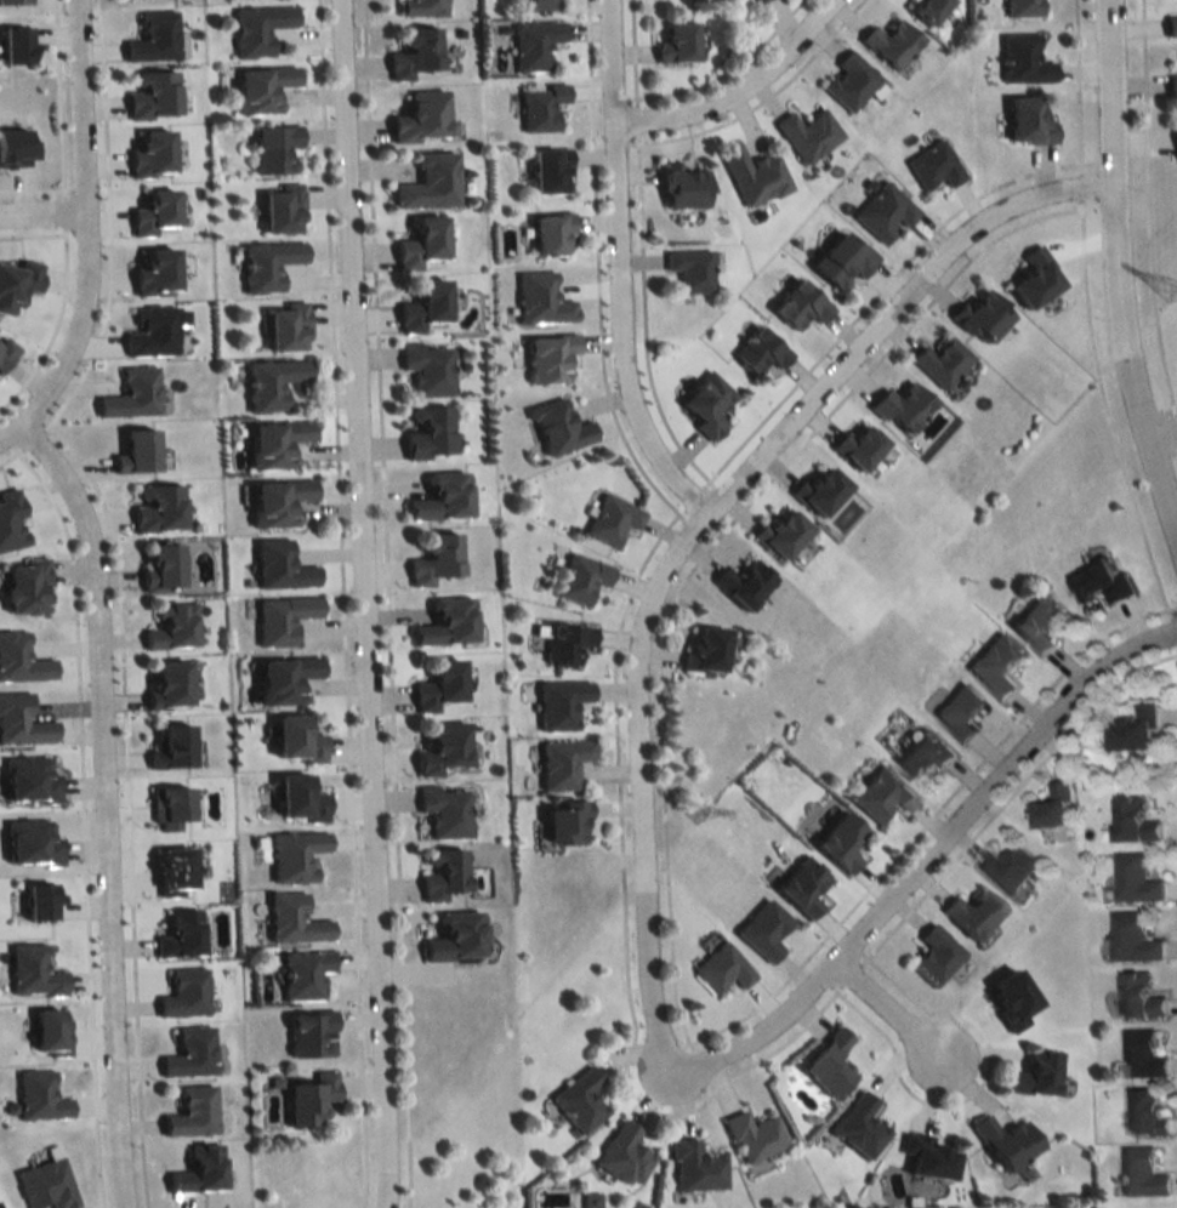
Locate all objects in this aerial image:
building: (13, 1)
building: (757, 1)
building: (533, 5)
building: (420, 7)
building: (1019, 7)
building: (925, 10)
building: (1170, 24)
building: (257, 28)
building: (153, 36)
building: (676, 41)
building: (533, 44)
building: (888, 44)
building: (15, 45)
building: (414, 51)
road: (630, 53)
building: (1020, 59)
road: (722, 70)
building: (849, 81)
building: (1170, 84)
road: (1074, 86)
building: (260, 89)
road: (734, 89)
building: (152, 93)
road: (57, 98)
road: (757, 101)
building: (539, 106)
building: (420, 116)
road: (633, 120)
building: (1027, 122)
building: (806, 135)
road: (80, 139)
building: (1175, 141)
building: (15, 148)
building: (272, 148)
building: (149, 154)
building: (932, 165)
building: (547, 170)
building: (752, 175)
building: (427, 182)
building: (682, 186)
road: (1079, 186)
road: (33, 188)
building: (280, 205)
road: (1145, 209)
road: (41, 210)
road: (61, 211)
building: (153, 211)
building: (882, 211)
road: (106, 222)
building: (550, 233)
road: (30, 234)
building: (419, 243)
building: (266, 261)
building: (840, 261)
building: (689, 269)
building: (154, 272)
road: (618, 272)
road: (595, 273)
building: (1034, 273)
building: (17, 283)
road: (1114, 285)
power tower: (1170, 289)
road: (875, 291)
building: (539, 298)
building: (797, 306)
building: (420, 307)
building: (979, 310)
road: (641, 319)
road: (53, 323)
building: (285, 323)
building: (154, 329)
building: (758, 351)
building: (6, 352)
building: (547, 358)
building: (939, 358)
building: (426, 366)
road: (59, 367)
building: (269, 380)
building: (131, 392)
building: (900, 401)
building: (705, 403)
road: (1166, 405)
road: (1104, 412)
road: (1176, 418)
building: (557, 424)
building: (426, 428)
road: (1160, 433)
road: (33, 437)
building: (273, 440)
building: (855, 441)
building: (135, 448)
road: (1173, 451)
road: (11, 452)
road: (755, 465)
building: (818, 486)
building: (439, 494)
road: (692, 497)
building: (275, 500)
building: (157, 506)
building: (610, 517)
building: (11, 518)
building: (779, 530)
road: (709, 542)
building: (433, 555)
building: (160, 564)
building: (278, 564)
building: (580, 575)
building: (1099, 579)
building: (744, 581)
building: (24, 582)
road: (362, 603)
road: (340, 604)
road: (383, 604)
building: (282, 616)
building: (444, 620)
building: (1037, 620)
building: (170, 623)
road: (1172, 632)
building: (564, 640)
building: (705, 645)
road: (1176, 649)
building: (19, 656)
building: (995, 662)
building: (282, 676)
building: (166, 680)
building: (436, 682)
building: (557, 701)
building: (959, 708)
building: (21, 718)
building: (1135, 725)
building: (295, 736)
building: (169, 742)
building: (439, 745)
building: (925, 752)
building: (559, 760)
building: (28, 776)
building: (880, 791)
building: (297, 796)
road: (1008, 797)
building: (167, 803)
building: (1057, 803)
road: (102, 804)
road: (125, 807)
building: (442, 809)
power tower: (696, 810)
road: (81, 816)
building: (563, 817)
building: (1135, 819)
road: (925, 822)
building: (838, 838)
building: (30, 841)
building: (292, 853)
building: (171, 866)
building: (1008, 866)
building: (440, 871)
building: (1136, 877)
building: (800, 883)
building: (38, 898)
building: (971, 911)
building: (291, 917)
road: (621, 924)
building: (761, 928)
road: (858, 930)
building: (177, 933)
building: (451, 934)
building: (1135, 936)
building: (933, 951)
building: (718, 965)
building: (30, 969)
building: (301, 971)
road: (847, 973)
building: (182, 991)
road: (900, 992)
building: (1138, 992)
road: (874, 999)
road: (972, 1022)
building: (47, 1028)
building: (307, 1030)
road: (963, 1044)
building: (188, 1050)
building: (1143, 1053)
building: (826, 1060)
building: (1034, 1070)
road: (902, 1087)
building: (36, 1094)
building: (306, 1095)
building: (576, 1099)
building: (1149, 1109)
building: (189, 1110)
building: (855, 1124)
building: (749, 1133)
building: (1003, 1140)
building: (620, 1152)
building: (923, 1153)
building: (693, 1164)
building: (195, 1167)
building: (1143, 1170)
building: (42, 1183)
building: (0, 1207)

